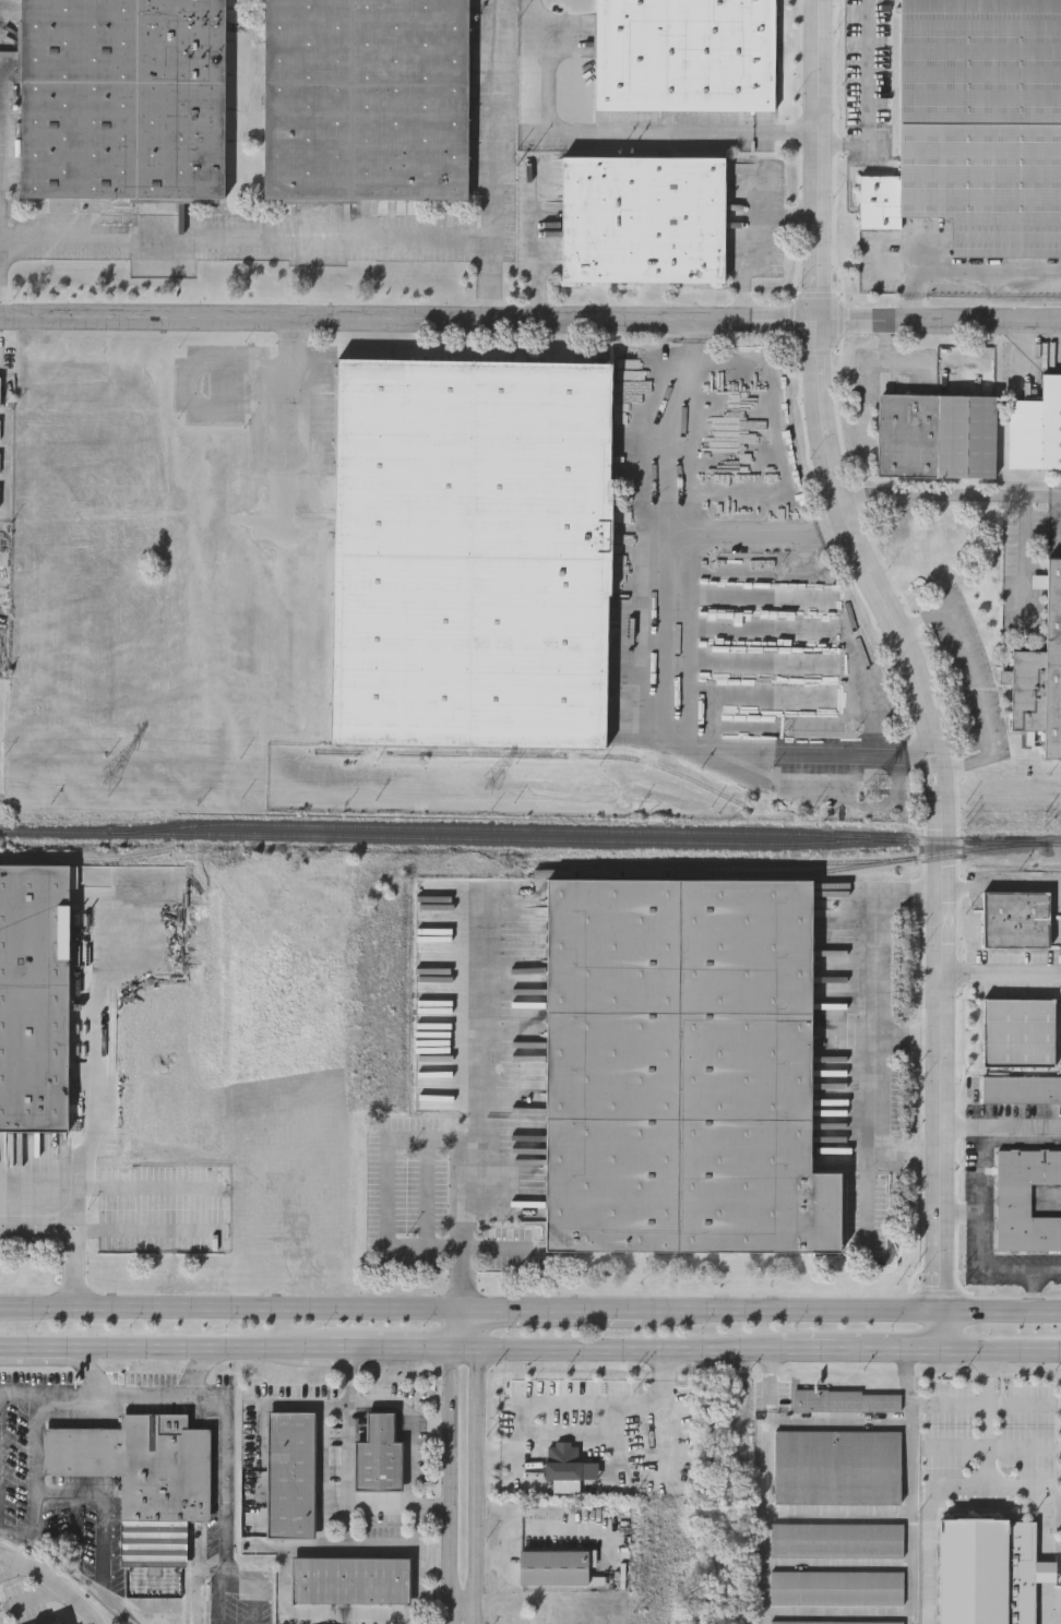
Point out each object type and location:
building: (683, 55)
road: (870, 93)
building: (366, 96)
building: (121, 97)
building: (982, 121)
road: (493, 140)
road: (632, 140)
building: (642, 217)
road: (284, 244)
road: (962, 271)
road: (530, 323)
building: (1036, 426)
building: (935, 433)
road: (989, 495)
road: (1040, 497)
road: (680, 504)
building: (469, 548)
road: (680, 634)
road: (907, 669)
building: (1041, 672)
road: (969, 677)
building: (739, 730)
railway: (536, 754)
power tower: (110, 777)
power tower: (492, 786)
power tower: (873, 792)
railway: (530, 828)
railway: (498, 839)
railway: (93, 857)
railway: (788, 862)
railway: (704, 873)
road: (996, 880)
building: (1015, 917)
road: (999, 976)
building: (33, 996)
road: (872, 1023)
building: (1018, 1029)
road: (482, 1036)
road: (905, 1037)
building: (681, 1071)
building: (1022, 1087)
road: (999, 1126)
road: (384, 1155)
road: (128, 1179)
building: (1025, 1197)
road: (957, 1215)
road: (152, 1225)
road: (82, 1226)
road: (980, 1237)
road: (497, 1249)
road: (1029, 1288)
road: (464, 1295)
road: (225, 1311)
road: (853, 1311)
road: (464, 1314)
road: (561, 1314)
road: (477, 1332)
road: (44, 1347)
road: (194, 1349)
road: (315, 1349)
road: (389, 1349)
road: (463, 1349)
road: (630, 1350)
road: (859, 1351)
road: (998, 1353)
building: (946, 1389)
road: (48, 1392)
road: (143, 1392)
building: (847, 1399)
road: (568, 1401)
road: (271, 1402)
road: (959, 1404)
road: (993, 1405)
road: (409, 1423)
building: (378, 1455)
road: (34, 1459)
building: (837, 1465)
road: (446, 1468)
building: (288, 1473)
building: (141, 1477)
road: (257, 1483)
road: (476, 1486)
road: (767, 1488)
road: (910, 1488)
road: (933, 1490)
road: (226, 1495)
road: (102, 1498)
road: (396, 1505)
road: (414, 1525)
building: (836, 1538)
road: (1, 1552)
building: (553, 1566)
road: (211, 1569)
road: (196, 1575)
building: (350, 1578)
road: (283, 1579)
road: (53, 1580)
building: (836, 1586)
road: (253, 1590)
road: (1046, 1609)
road: (461, 1616)
building: (836, 1622)

